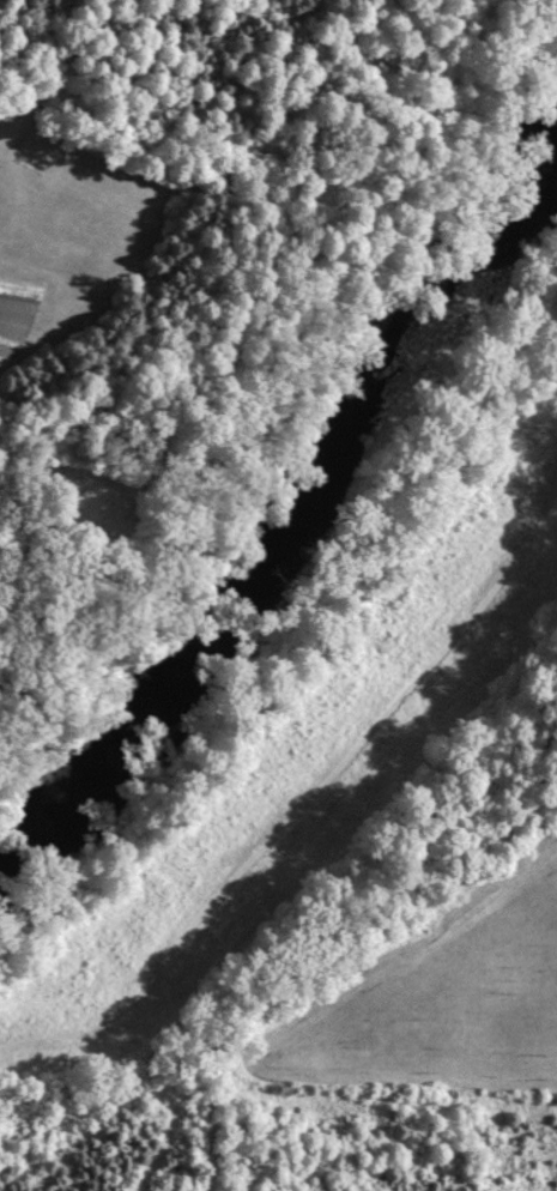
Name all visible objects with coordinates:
river: (283, 522)

